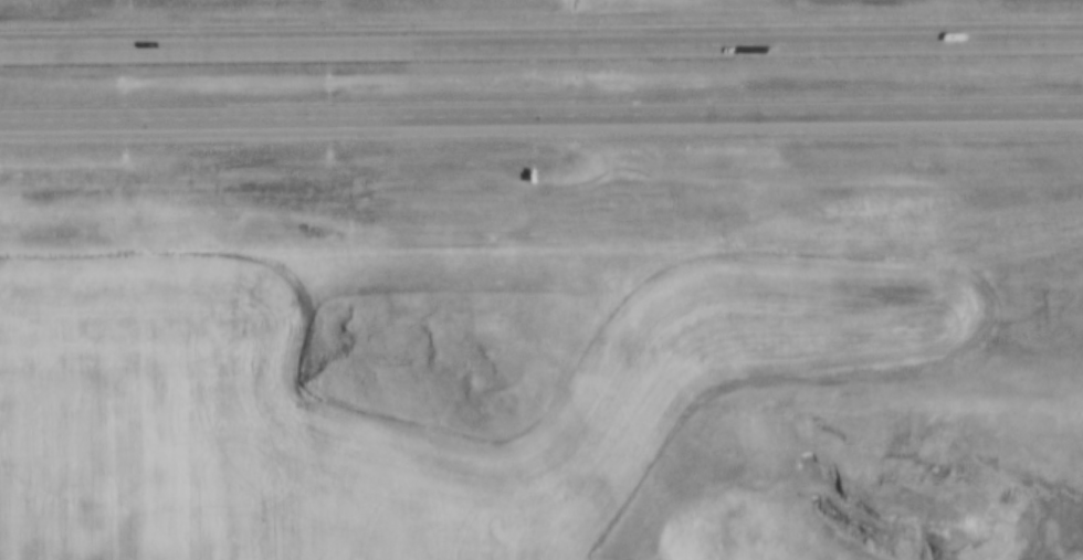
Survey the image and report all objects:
road: (540, 38)
road: (540, 117)

